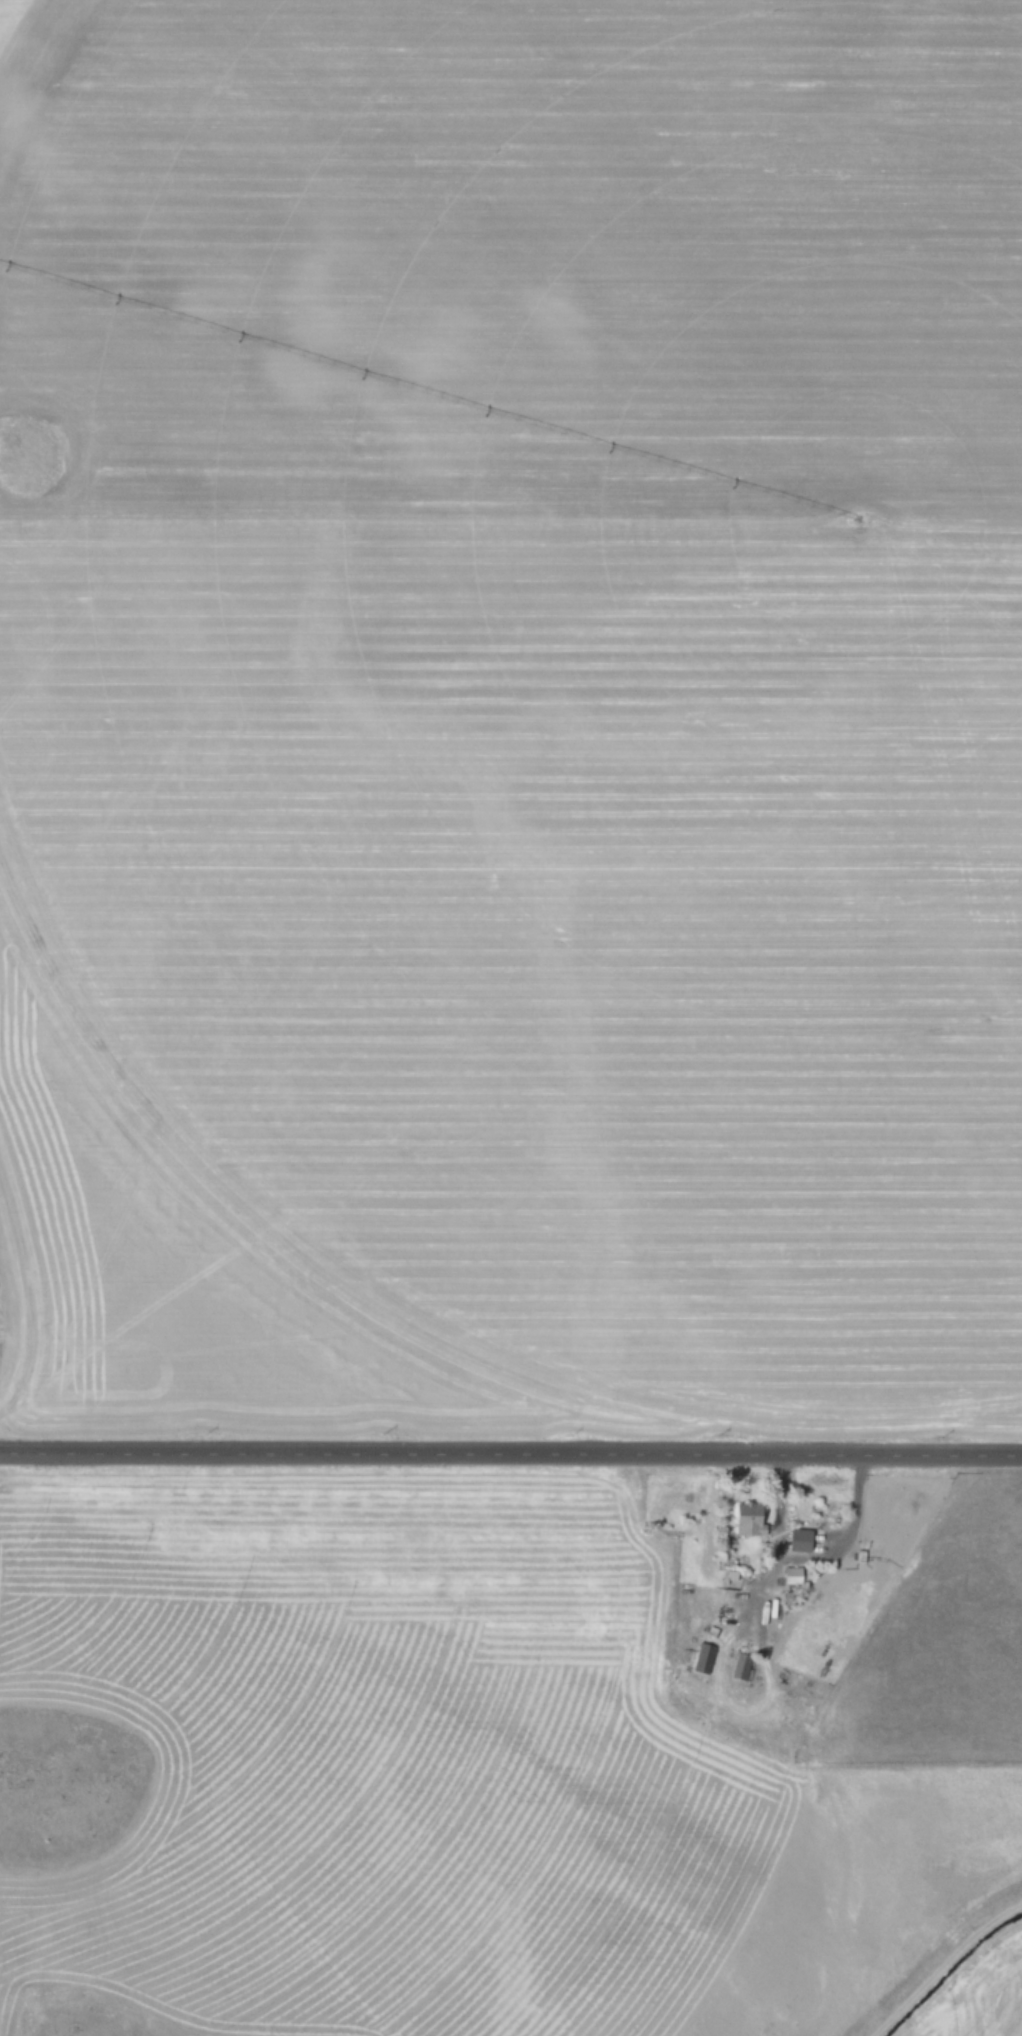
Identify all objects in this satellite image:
crop: (544, 673)
road: (511, 1453)
building: (750, 1519)
building: (800, 1541)
building: (702, 1657)
building: (740, 1666)
crop: (483, 1772)

